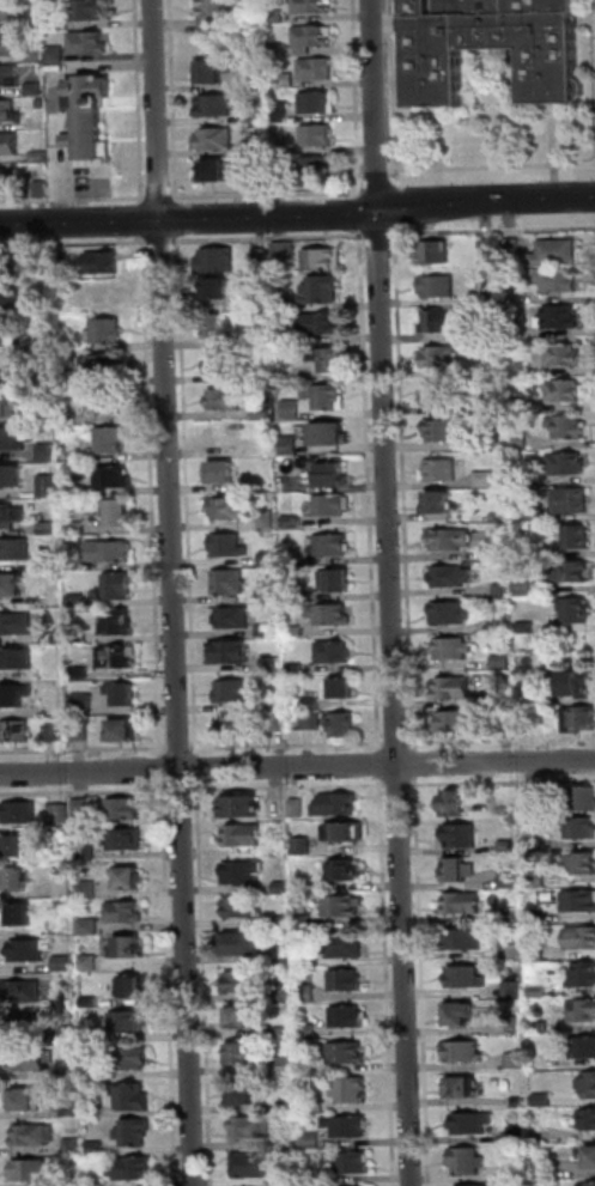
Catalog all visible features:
building: (315, 6)
building: (93, 11)
building: (7, 12)
building: (256, 16)
building: (278, 17)
building: (211, 20)
building: (57, 24)
building: (316, 37)
building: (91, 43)
building: (10, 45)
building: (492, 47)
building: (278, 50)
building: (306, 50)
building: (59, 54)
building: (37, 56)
building: (318, 71)
building: (217, 73)
building: (11, 77)
building: (287, 80)
building: (254, 84)
building: (37, 89)
road: (57, 96)
road: (359, 98)
road: (141, 101)
road: (176, 101)
building: (44, 103)
building: (320, 103)
building: (217, 107)
building: (8, 111)
building: (284, 111)
building: (257, 117)
building: (91, 118)
building: (320, 136)
building: (217, 140)
building: (10, 144)
building: (285, 147)
building: (256, 148)
building: (42, 158)
building: (321, 166)
building: (218, 174)
building: (256, 180)
building: (7, 181)
road: (372, 187)
building: (43, 190)
road: (269, 193)
road: (162, 197)
road: (542, 197)
road: (74, 199)
road: (436, 203)
traffic signals: (382, 212)
road: (363, 213)
road: (145, 219)
road: (180, 219)
road: (190, 219)
road: (400, 219)
road: (494, 231)
road: (380, 235)
road: (272, 238)
road: (163, 242)
road: (74, 243)
building: (491, 249)
building: (514, 249)
building: (287, 250)
building: (436, 254)
building: (558, 255)
building: (263, 257)
building: (324, 260)
building: (66, 261)
building: (218, 262)
building: (104, 263)
building: (8, 267)
building: (560, 281)
building: (441, 287)
building: (218, 290)
building: (323, 291)
building: (11, 296)
building: (491, 298)
building: (263, 303)
building: (286, 305)
building: (561, 318)
building: (445, 321)
building: (322, 326)
building: (215, 327)
building: (109, 332)
building: (516, 333)
building: (5, 334)
building: (492, 337)
building: (45, 346)
building: (560, 355)
building: (443, 358)
building: (328, 360)
building: (225, 363)
building: (104, 366)
building: (517, 370)
building: (494, 372)
building: (6, 373)
building: (71, 378)
building: (47, 383)
building: (566, 391)
building: (441, 395)
building: (328, 397)
building: (227, 401)
building: (107, 403)
building: (517, 407)
building: (293, 409)
building: (8, 410)
building: (265, 414)
building: (72, 420)
building: (570, 427)
building: (255, 432)
building: (445, 432)
building: (225, 434)
building: (330, 436)
building: (16, 440)
building: (113, 440)
building: (522, 442)
building: (496, 443)
building: (290, 446)
building: (49, 454)
building: (74, 455)
building: (566, 466)
building: (443, 472)
building: (224, 475)
building: (335, 476)
building: (115, 478)
building: (11, 479)
building: (487, 480)
building: (520, 481)
building: (50, 487)
road: (407, 489)
building: (75, 491)
road: (371, 491)
road: (154, 497)
road: (189, 497)
building: (575, 503)
building: (439, 504)
building: (334, 506)
building: (230, 510)
building: (119, 515)
building: (539, 515)
building: (11, 517)
building: (496, 517)
building: (269, 521)
building: (293, 523)
building: (51, 529)
building: (78, 529)
building: (581, 539)
building: (451, 541)
building: (330, 546)
building: (230, 547)
building: (17, 549)
building: (110, 552)
building: (493, 554)
building: (271, 559)
building: (295, 559)
building: (571, 574)
building: (453, 577)
building: (230, 583)
building: (338, 583)
building: (526, 586)
building: (12, 588)
building: (117, 588)
building: (502, 590)
building: (271, 591)
road: (175, 592)
road: (391, 592)
building: (78, 602)
building: (577, 612)
building: (451, 614)
building: (332, 616)
building: (233, 619)
building: (17, 625)
building: (120, 626)
building: (503, 626)
building: (528, 628)
building: (268, 632)
building: (297, 632)
building: (77, 637)
building: (54, 639)
building: (455, 649)
building: (335, 652)
building: (230, 653)
building: (119, 658)
building: (19, 661)
building: (503, 663)
building: (273, 665)
building: (297, 669)
building: (81, 674)
building: (577, 686)
building: (454, 688)
building: (344, 691)
building: (233, 693)
building: (16, 697)
building: (123, 697)
building: (527, 699)
building: (84, 705)
building: (314, 705)
building: (581, 720)
building: (314, 722)
building: (456, 722)
building: (280, 723)
building: (509, 723)
building: (344, 725)
building: (239, 728)
building: (18, 732)
building: (56, 734)
building: (81, 734)
building: (122, 734)
road: (502, 740)
road: (397, 742)
road: (289, 744)
road: (180, 748)
road: (84, 749)
road: (417, 764)
road: (382, 765)
road: (297, 766)
road: (163, 770)
road: (200, 770)
road: (503, 781)
road: (400, 785)
road: (291, 786)
road: (181, 789)
road: (85, 791)
building: (585, 799)
building: (454, 804)
building: (338, 807)
building: (84, 808)
building: (242, 809)
building: (298, 809)
building: (125, 810)
building: (22, 813)
building: (61, 813)
building: (582, 829)
building: (347, 833)
building: (63, 834)
building: (247, 837)
building: (460, 837)
building: (128, 841)
building: (534, 845)
building: (303, 846)
building: (509, 847)
building: (281, 849)
building: (22, 850)
building: (87, 852)
building: (583, 864)
building: (460, 870)
building: (243, 872)
building: (346, 872)
building: (510, 872)
building: (536, 880)
building: (18, 881)
building: (128, 881)
building: (510, 882)
building: (65, 884)
building: (285, 887)
building: (90, 889)
building: (579, 901)
building: (465, 904)
building: (245, 908)
building: (342, 908)
building: (22, 914)
building: (125, 914)
building: (512, 916)
building: (535, 916)
building: (305, 920)
building: (283, 922)
building: (90, 927)
building: (582, 938)
building: (466, 939)
building: (244, 945)
building: (346, 948)
building: (32, 950)
building: (128, 950)
building: (514, 951)
building: (66, 965)
building: (91, 965)
building: (467, 977)
building: (584, 977)
road: (423, 980)
building: (247, 981)
building: (347, 981)
road: (171, 983)
road: (388, 983)
road: (206, 984)
building: (133, 987)
building: (515, 991)
building: (28, 992)
building: (540, 992)
building: (286, 993)
building: (308, 993)
building: (91, 1002)
building: (584, 1011)
building: (461, 1015)
building: (350, 1018)
building: (242, 1020)
building: (128, 1024)
building: (517, 1026)
building: (24, 1027)
building: (541, 1028)
building: (309, 1030)
building: (287, 1033)
building: (71, 1036)
building: (96, 1036)
building: (582, 1048)
building: (347, 1052)
building: (463, 1053)
building: (245, 1056)
building: (130, 1059)
building: (516, 1060)
building: (28, 1062)
building: (544, 1064)
building: (286, 1065)
building: (71, 1074)
building: (589, 1085)
building: (465, 1089)
building: (351, 1091)
building: (244, 1094)
building: (135, 1100)
building: (545, 1100)
building: (24, 1101)
building: (520, 1101)
building: (316, 1106)
building: (290, 1107)
building: (73, 1108)
building: (589, 1119)
building: (473, 1124)
building: (348, 1126)
building: (251, 1127)
building: (134, 1133)
building: (35, 1135)
building: (520, 1135)
building: (314, 1141)
building: (539, 1141)
building: (291, 1143)
building: (75, 1147)
building: (97, 1148)
building: (593, 1158)
building: (351, 1162)
building: (468, 1162)
building: (251, 1167)
building: (31, 1169)
building: (132, 1169)
building: (545, 1173)
building: (521, 1174)
building: (291, 1179)
building: (74, 1181)
building: (97, 1184)
building: (470, 1185)
building: (589, 1185)

